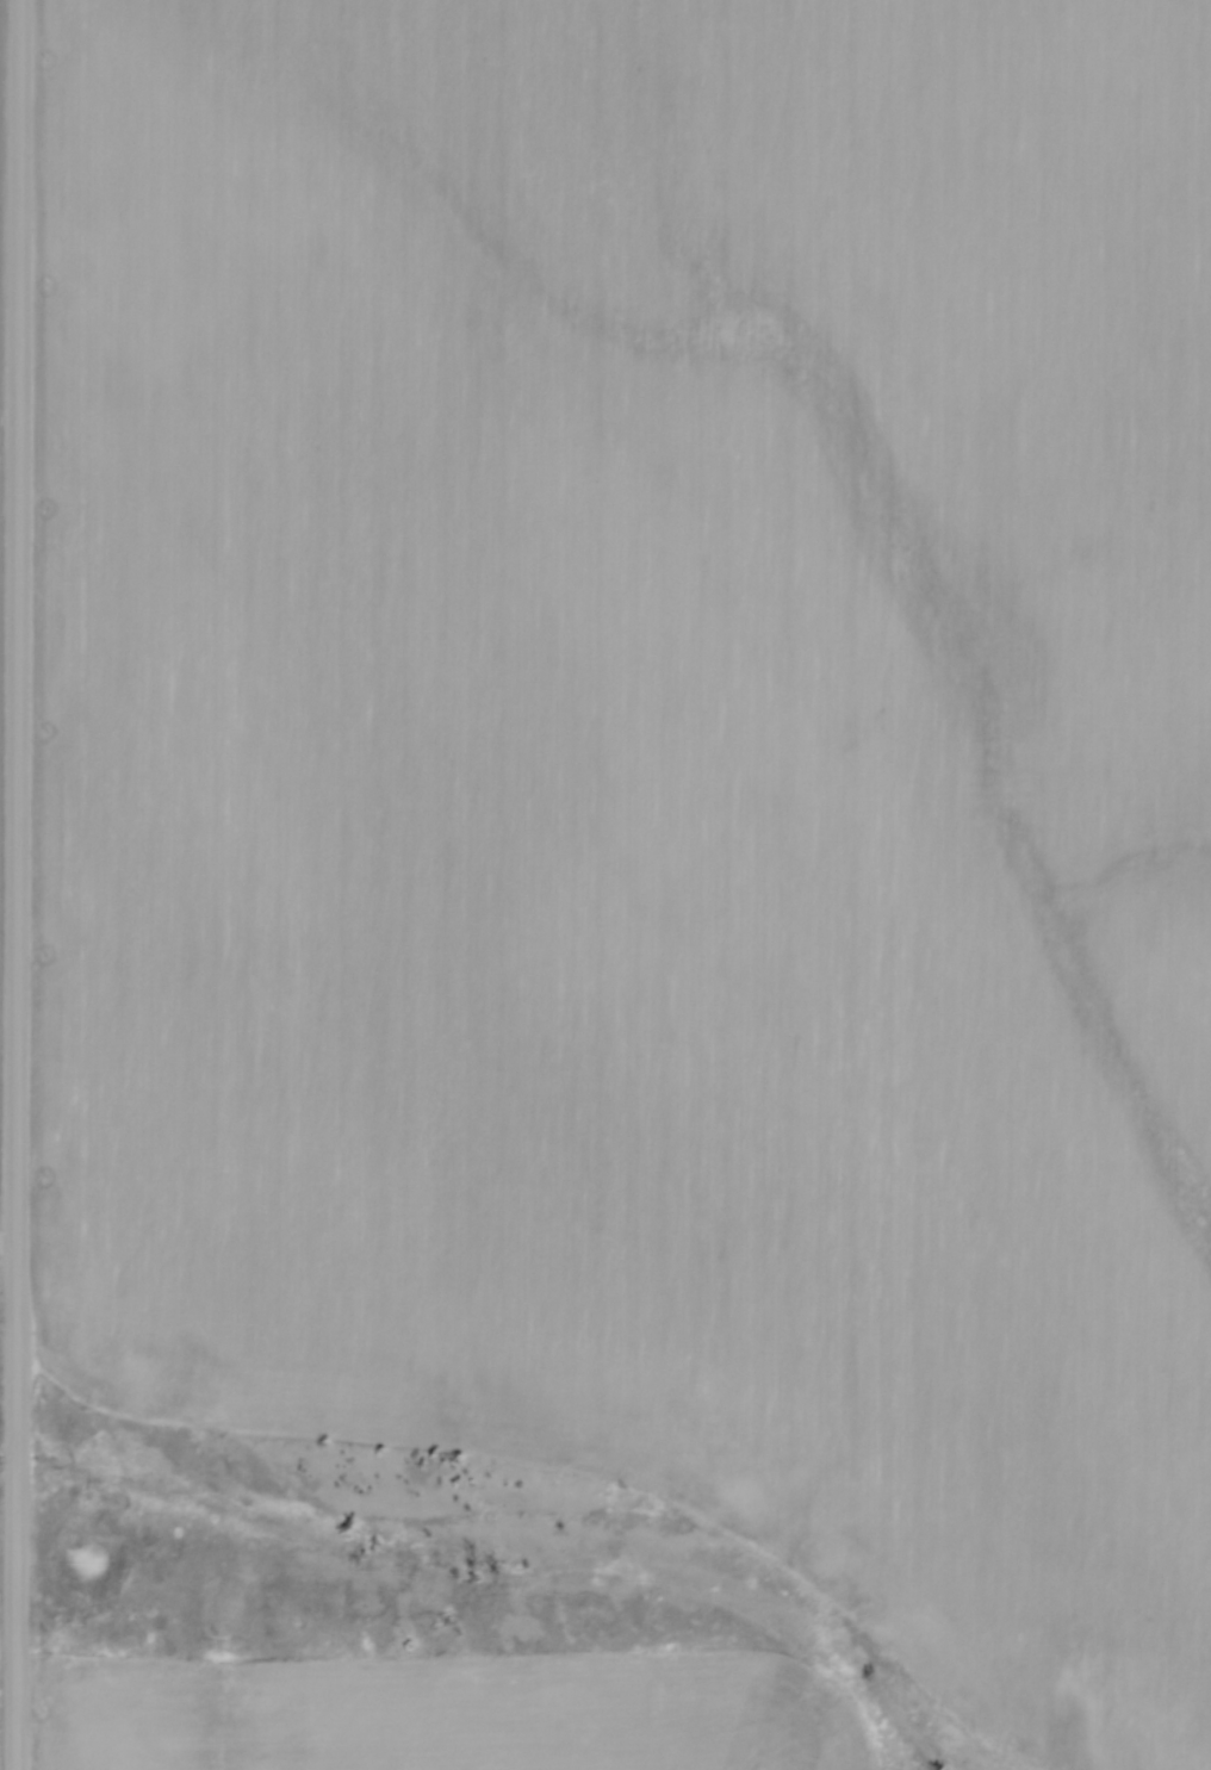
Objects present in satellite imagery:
crop: (652, 783)
road: (21, 884)
crop: (440, 1714)

